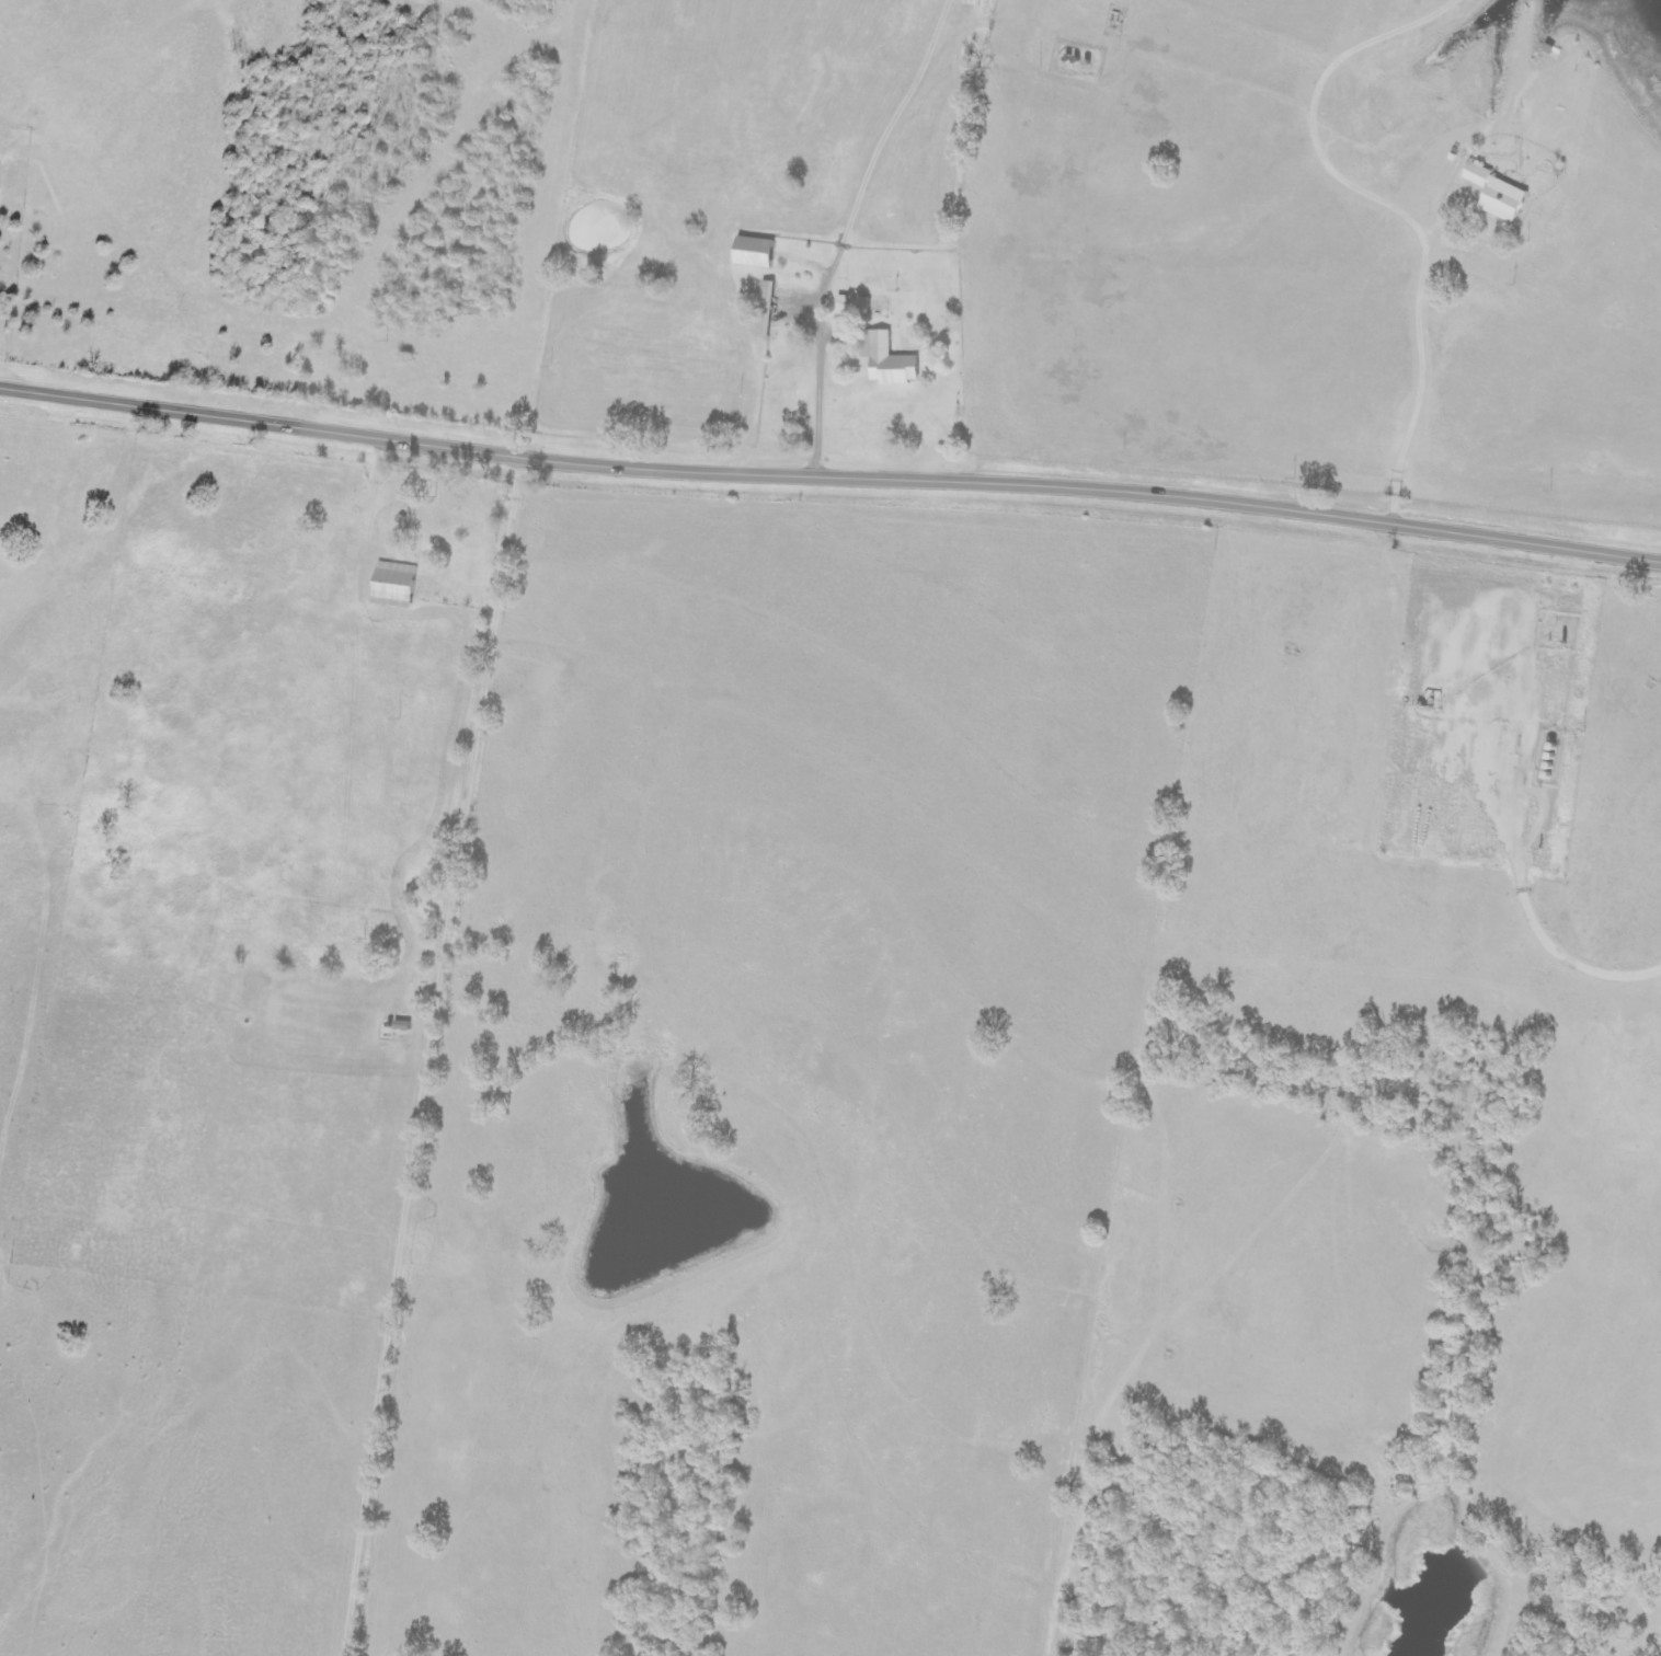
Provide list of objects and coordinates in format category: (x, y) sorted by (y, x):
building: (1499, 193)
building: (758, 252)
building: (767, 308)
building: (894, 361)
road: (829, 476)
building: (397, 585)

